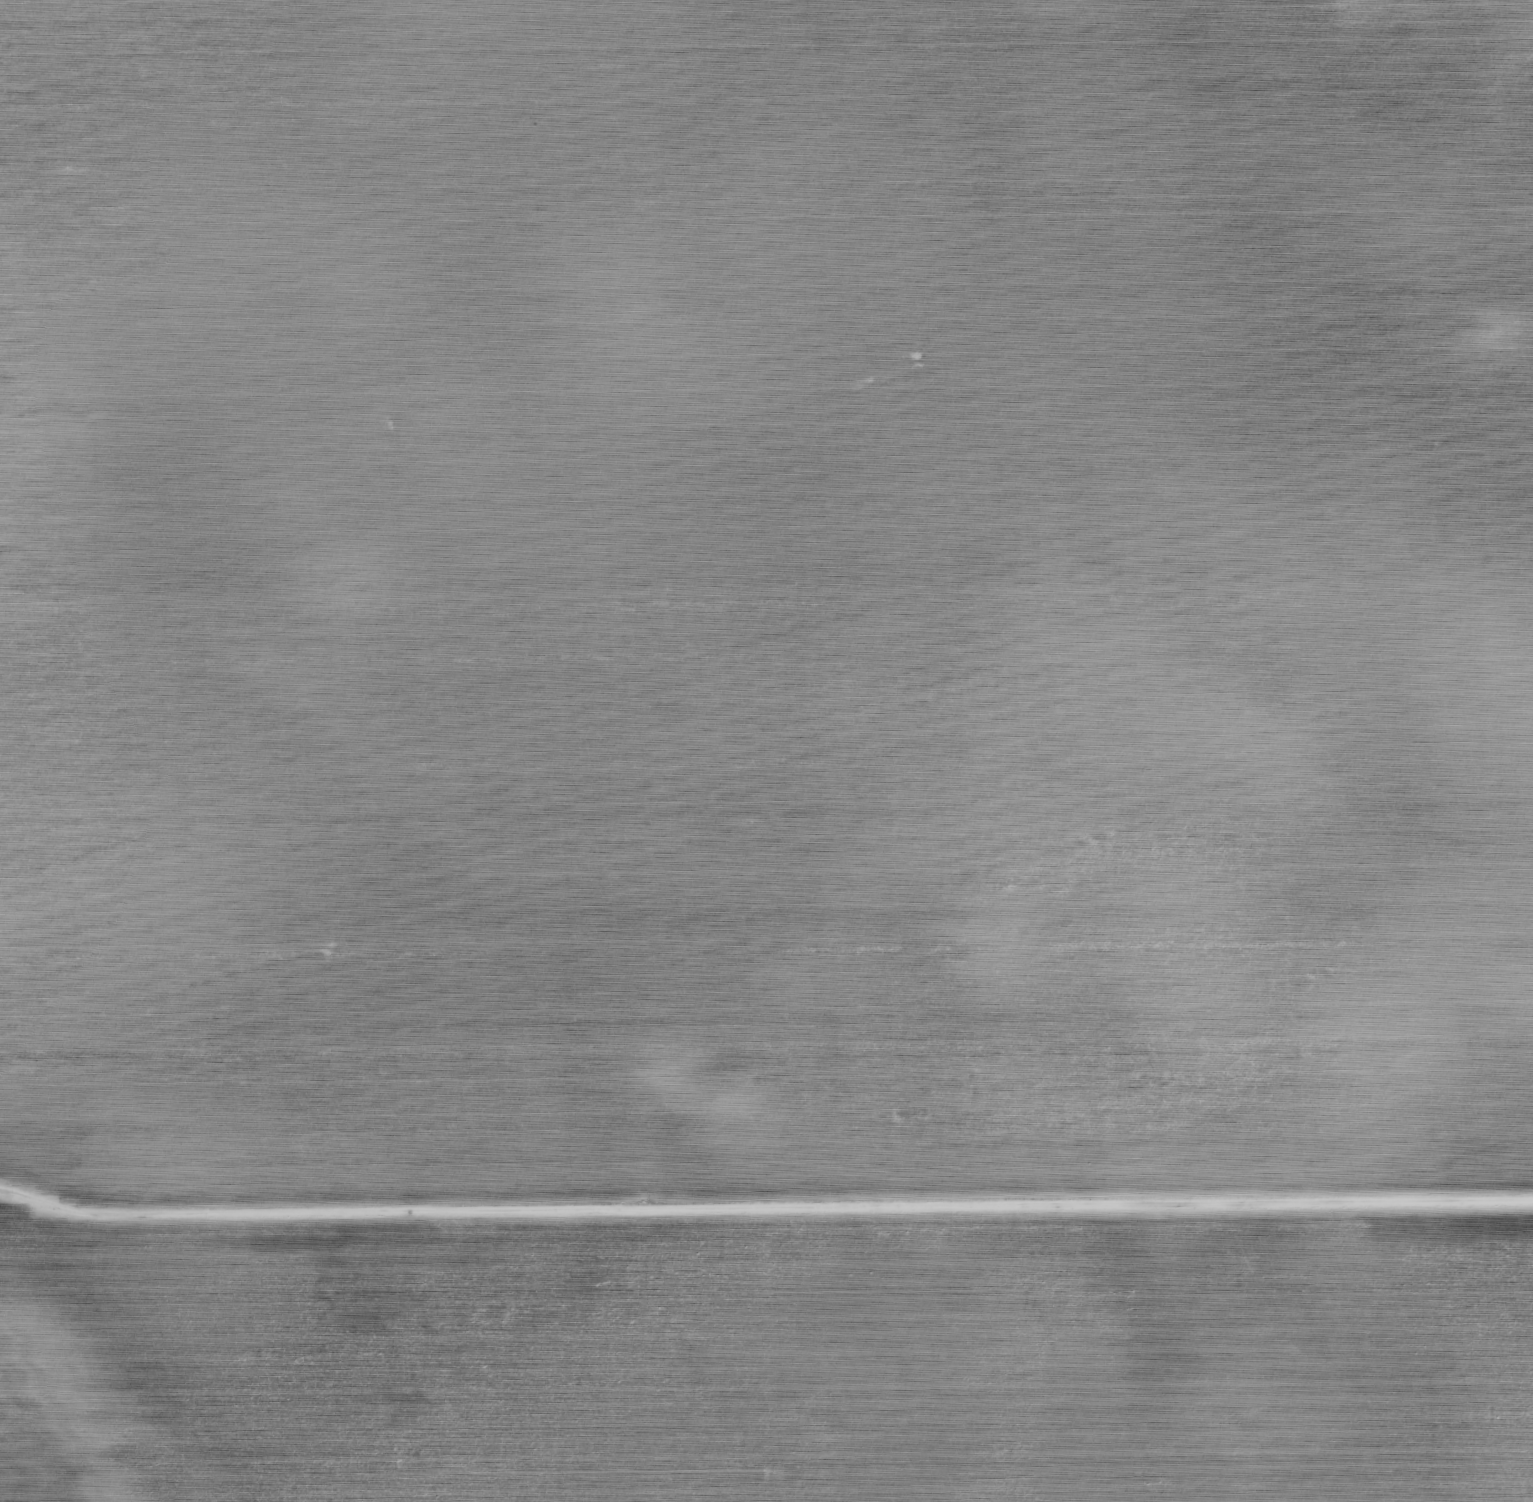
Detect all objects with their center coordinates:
road: (765, 1207)

